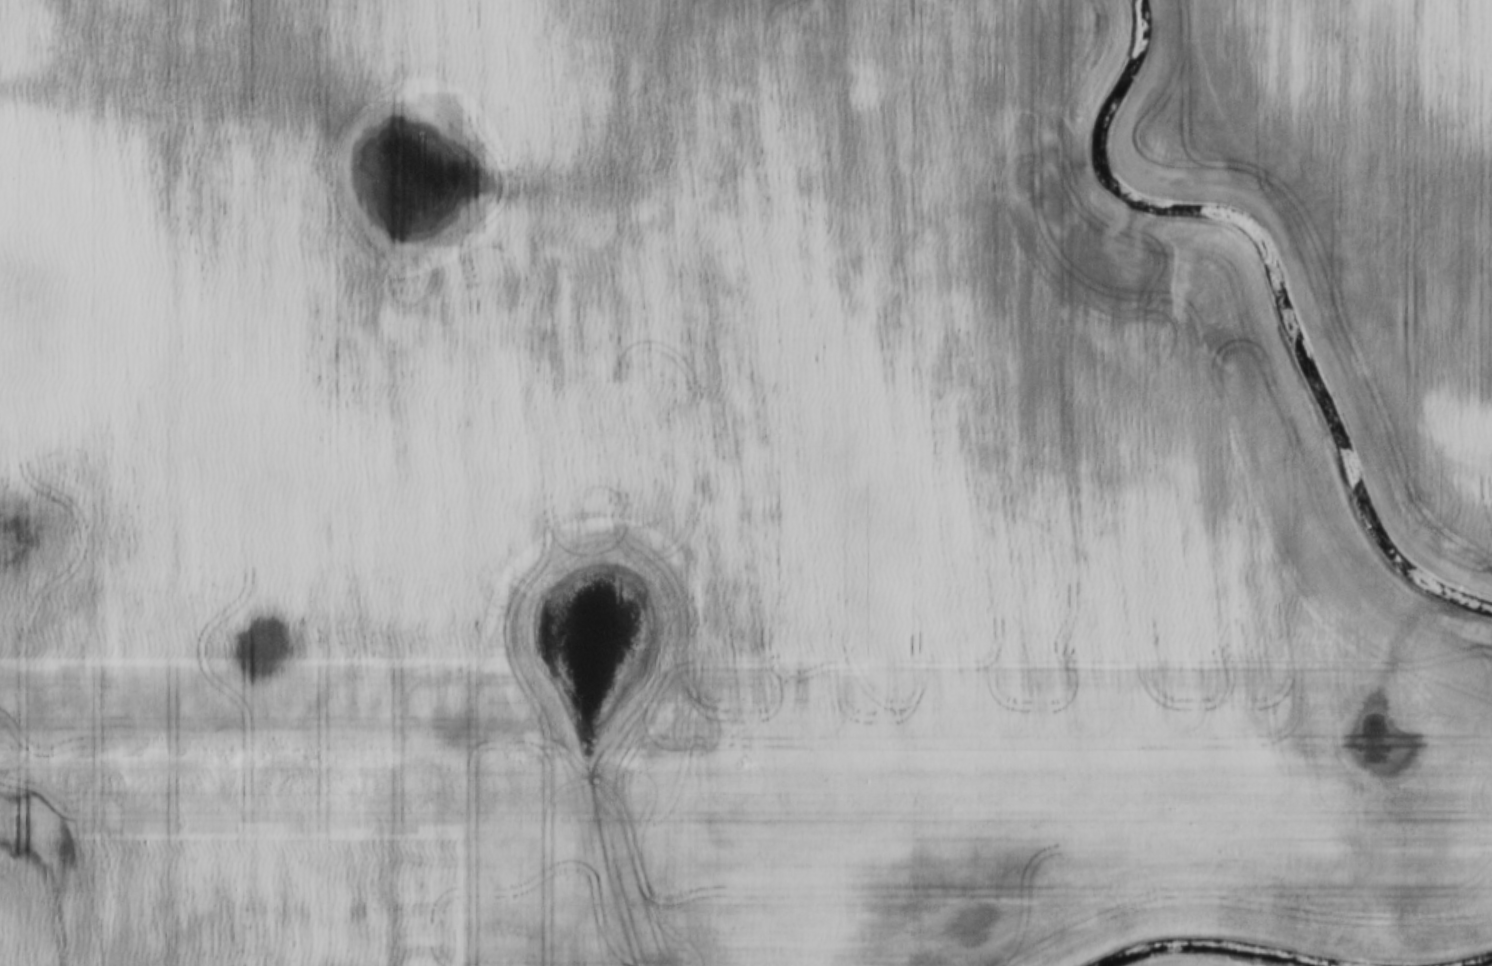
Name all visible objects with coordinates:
river: (1279, 286)

